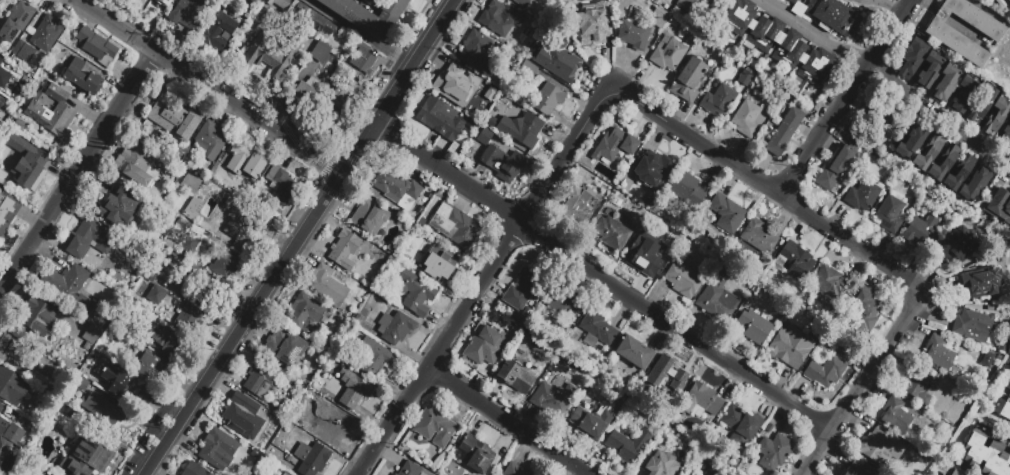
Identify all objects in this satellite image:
building: (513, 0)
building: (257, 1)
building: (163, 2)
building: (368, 2)
building: (793, 2)
building: (1008, 2)
building: (283, 4)
building: (668, 5)
road: (889, 5)
building: (694, 7)
building: (187, 13)
building: (302, 14)
building: (367, 15)
building: (833, 16)
building: (501, 18)
building: (659, 18)
building: (17, 23)
building: (323, 25)
road: (431, 29)
building: (592, 31)
building: (217, 32)
road: (356, 33)
road: (818, 34)
building: (633, 35)
building: (948, 38)
building: (777, 41)
building: (38, 43)
building: (97, 49)
building: (475, 50)
building: (320, 52)
building: (668, 54)
building: (266, 58)
building: (362, 58)
building: (557, 58)
building: (912, 58)
building: (0, 60)
building: (752, 63)
building: (1, 64)
building: (526, 71)
building: (928, 71)
building: (745, 78)
building: (689, 79)
building: (4, 80)
building: (83, 80)
building: (944, 84)
road: (209, 85)
building: (459, 87)
road: (392, 88)
building: (963, 94)
building: (307, 95)
building: (548, 99)
building: (0, 100)
building: (718, 100)
road: (850, 100)
building: (337, 103)
building: (981, 105)
road: (936, 109)
building: (53, 111)
building: (873, 112)
building: (1009, 115)
building: (996, 116)
building: (746, 119)
building: (175, 121)
building: (440, 121)
building: (20, 125)
building: (521, 130)
building: (784, 132)
building: (552, 133)
building: (1006, 134)
building: (211, 143)
building: (616, 144)
building: (910, 144)
building: (873, 153)
building: (928, 154)
building: (139, 159)
building: (247, 162)
building: (943, 163)
building: (501, 164)
building: (27, 165)
building: (652, 167)
building: (835, 168)
road: (78, 169)
building: (959, 174)
road: (1008, 183)
building: (280, 185)
building: (190, 186)
building: (974, 186)
building: (395, 187)
building: (150, 188)
building: (688, 189)
road: (768, 189)
building: (863, 195)
building: (578, 204)
building: (998, 204)
building: (7, 209)
building: (119, 209)
building: (607, 211)
building: (193, 212)
building: (727, 213)
building: (889, 214)
building: (371, 219)
building: (245, 227)
building: (456, 228)
building: (921, 231)
building: (611, 233)
building: (758, 236)
building: (92, 239)
building: (959, 245)
building: (190, 246)
building: (169, 249)
building: (346, 252)
building: (644, 256)
building: (793, 260)
building: (439, 266)
building: (225, 268)
building: (171, 274)
road: (482, 279)
building: (683, 280)
road: (599, 281)
building: (830, 282)
building: (983, 282)
building: (328, 287)
building: (521, 289)
building: (67, 291)
building: (206, 294)
building: (416, 295)
road: (260, 296)
building: (157, 297)
building: (716, 300)
building: (561, 305)
building: (815, 305)
building: (989, 308)
building: (808, 310)
building: (864, 311)
building: (306, 313)
building: (166, 314)
building: (38, 319)
building: (190, 321)
building: (384, 323)
building: (973, 326)
building: (753, 327)
building: (936, 327)
building: (598, 328)
building: (399, 331)
building: (93, 337)
building: (162, 342)
building: (482, 347)
building: (791, 347)
building: (285, 348)
building: (633, 352)
building: (938, 353)
building: (13, 355)
building: (375, 359)
building: (147, 367)
building: (825, 371)
building: (669, 372)
building: (515, 377)
building: (945, 377)
building: (261, 380)
building: (117, 382)
road: (862, 383)
building: (935, 383)
building: (1007, 383)
building: (917, 385)
building: (12, 389)
building: (355, 391)
building: (553, 398)
building: (145, 399)
building: (701, 399)
building: (1, 405)
building: (1002, 407)
building: (1, 409)
building: (101, 410)
building: (242, 415)
building: (895, 416)
building: (592, 422)
road: (506, 423)
building: (739, 425)
building: (335, 428)
building: (436, 430)
building: (10, 434)
building: (627, 445)
building: (880, 448)
building: (4, 450)
building: (215, 450)
building: (774, 451)
building: (986, 454)
building: (87, 456)
building: (477, 456)
building: (926, 458)
building: (313, 460)
building: (661, 464)
building: (745, 468)
building: (410, 469)
building: (859, 469)
building: (192, 470)
building: (514, 470)
road: (572, 471)
building: (283, 473)
building: (957, 473)
building: (267, 474)
building: (396, 474)
building: (422, 474)
building: (685, 474)

